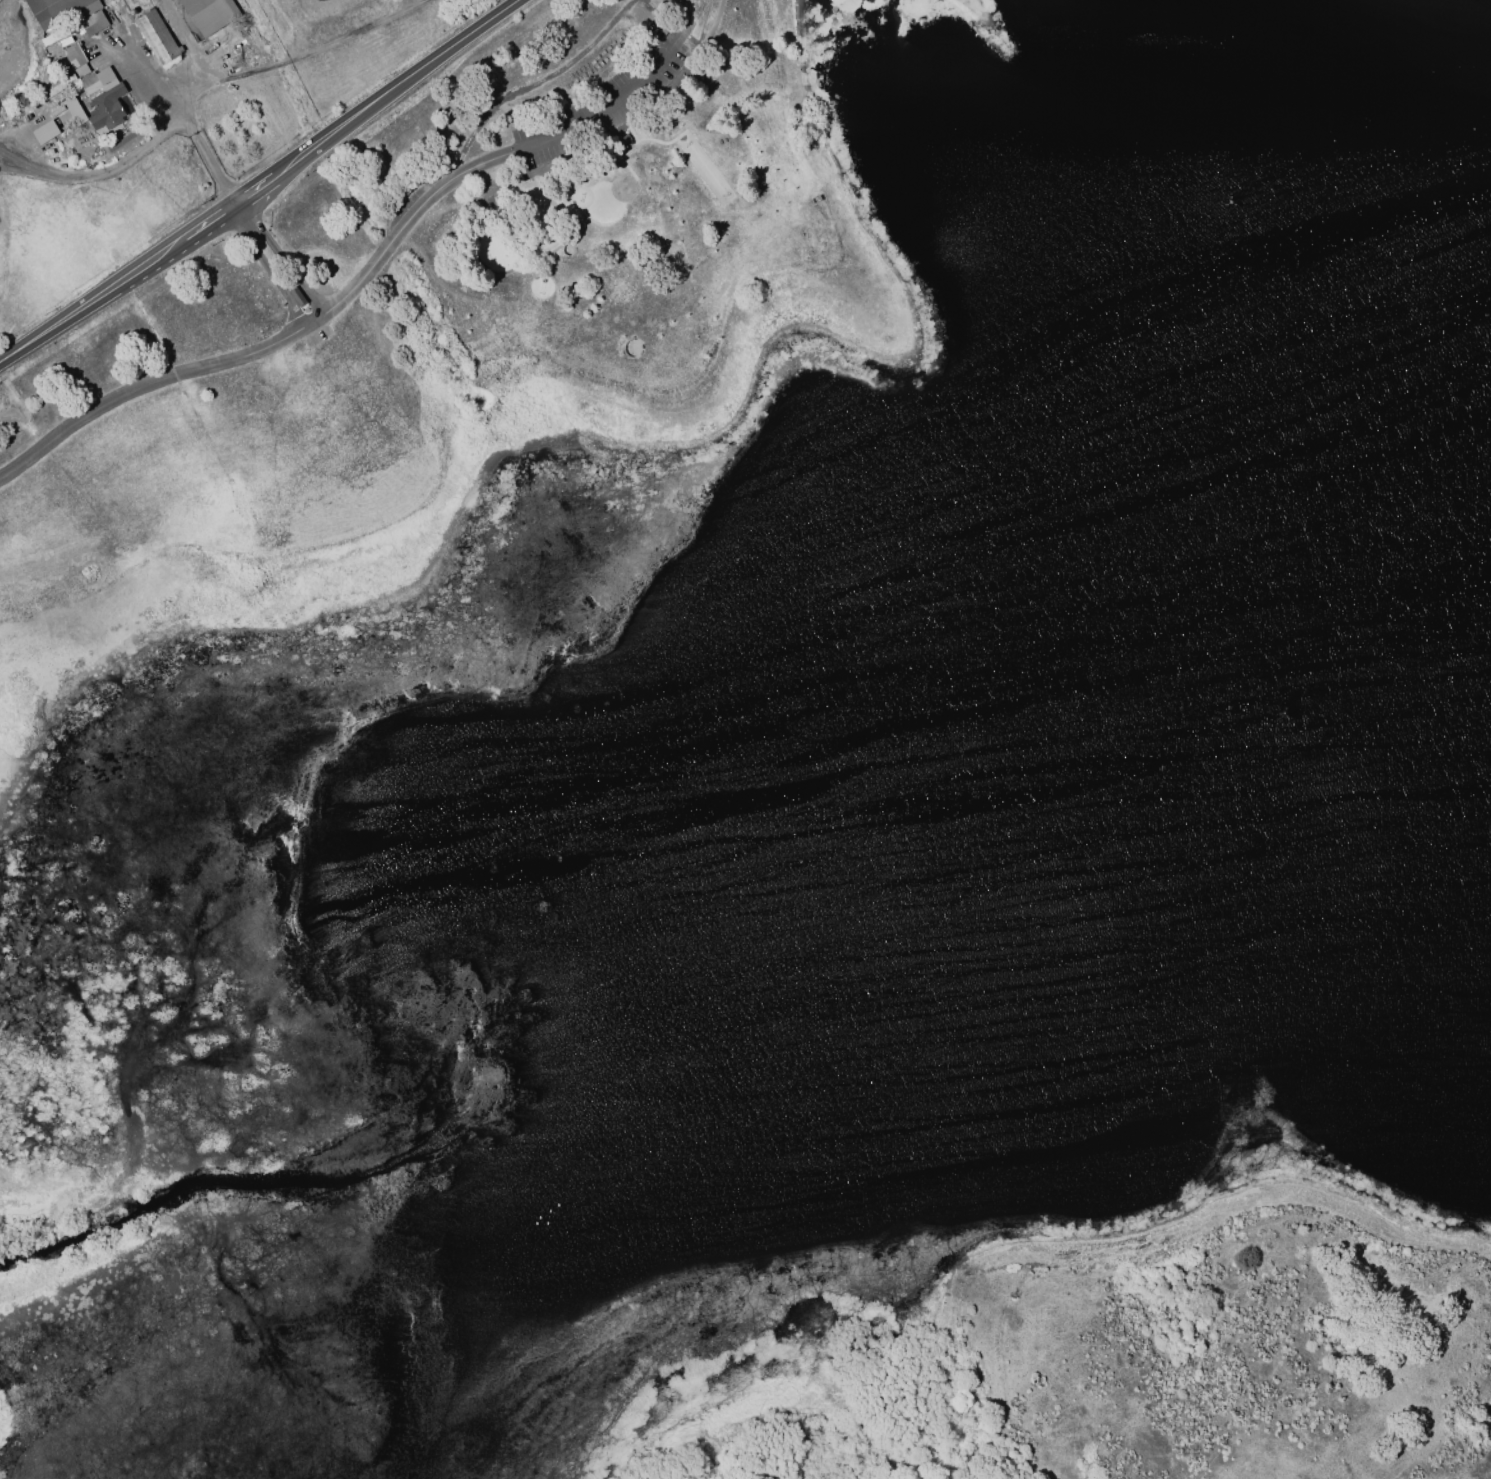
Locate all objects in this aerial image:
building: (59, 9)
building: (208, 13)
road: (715, 21)
building: (92, 22)
building: (156, 35)
building: (81, 68)
road: (147, 79)
building: (105, 100)
parking lot: (604, 109)
building: (71, 110)
building: (44, 131)
road: (3, 157)
road: (208, 158)
road: (487, 161)
road: (97, 171)
road: (263, 183)
toll booth: (296, 293)
road: (215, 361)

